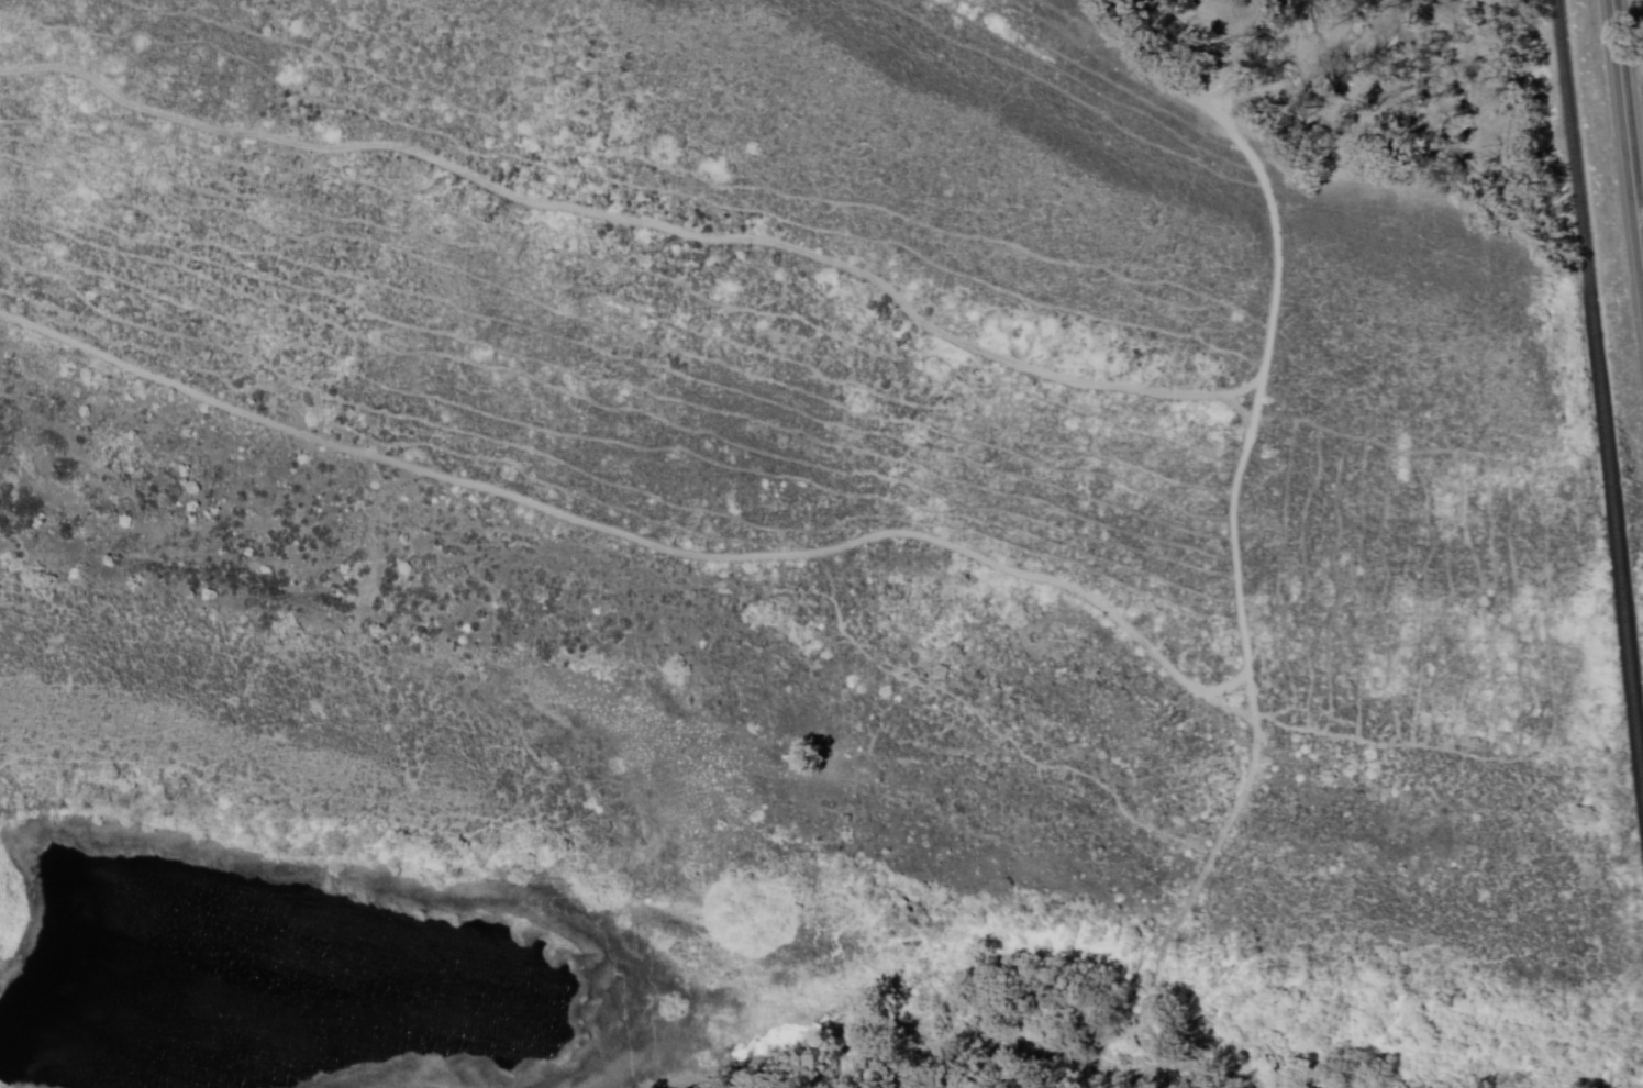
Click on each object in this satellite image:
road: (1630, 60)
road: (1625, 140)
road: (637, 222)
road: (1640, 236)
railway: (1601, 402)
road: (1244, 412)
road: (1253, 432)
road: (633, 539)

